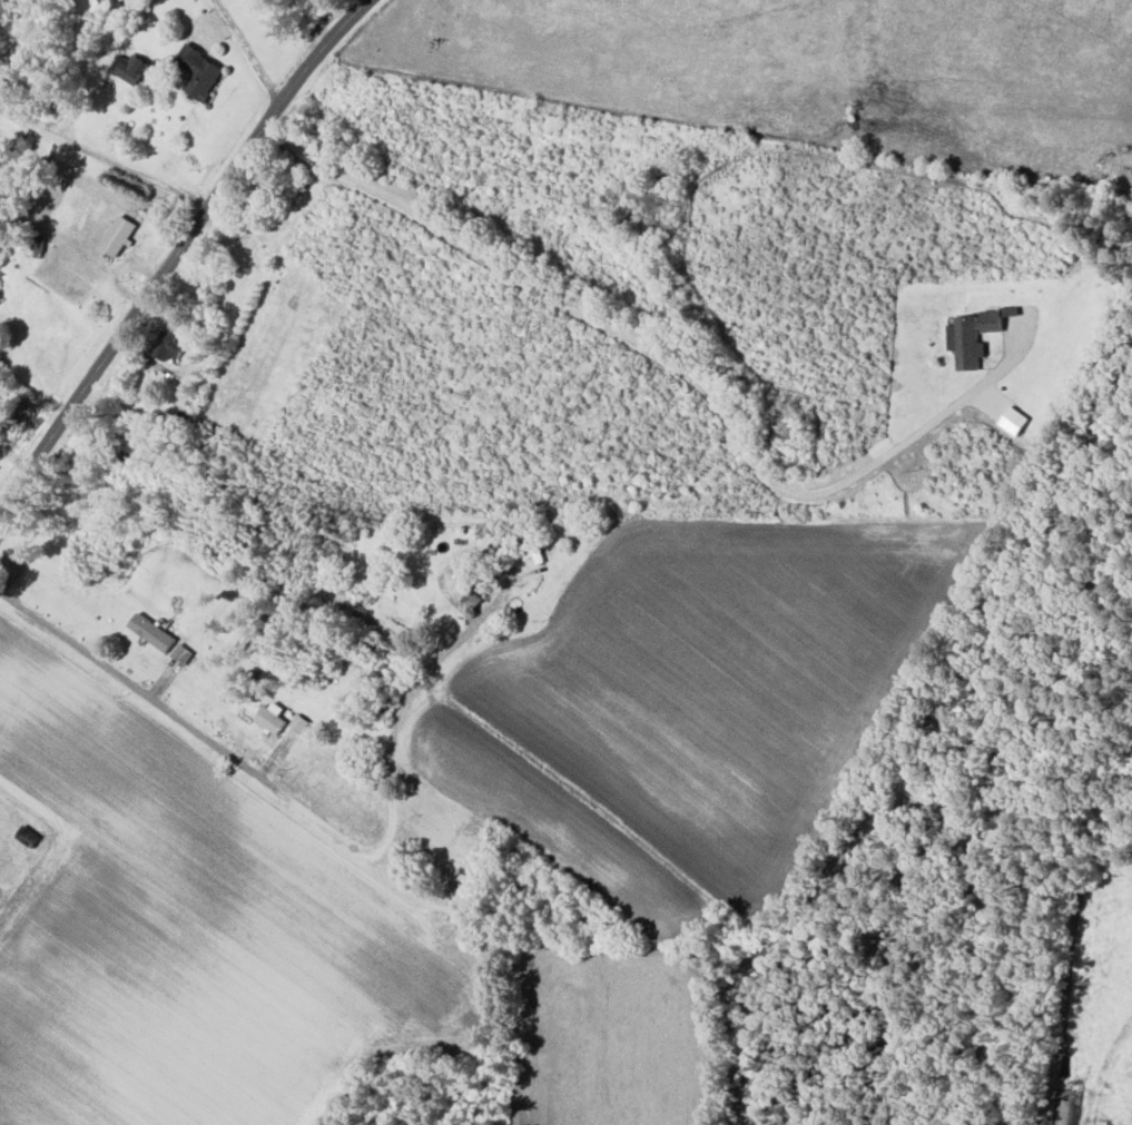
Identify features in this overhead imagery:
building: (131, 66)
building: (198, 69)
road: (102, 160)
building: (117, 234)
road: (177, 249)
building: (994, 316)
building: (965, 339)
building: (166, 343)
road: (673, 361)
building: (148, 630)
building: (179, 652)
road: (170, 669)
building: (270, 714)
building: (297, 721)
road: (256, 776)

